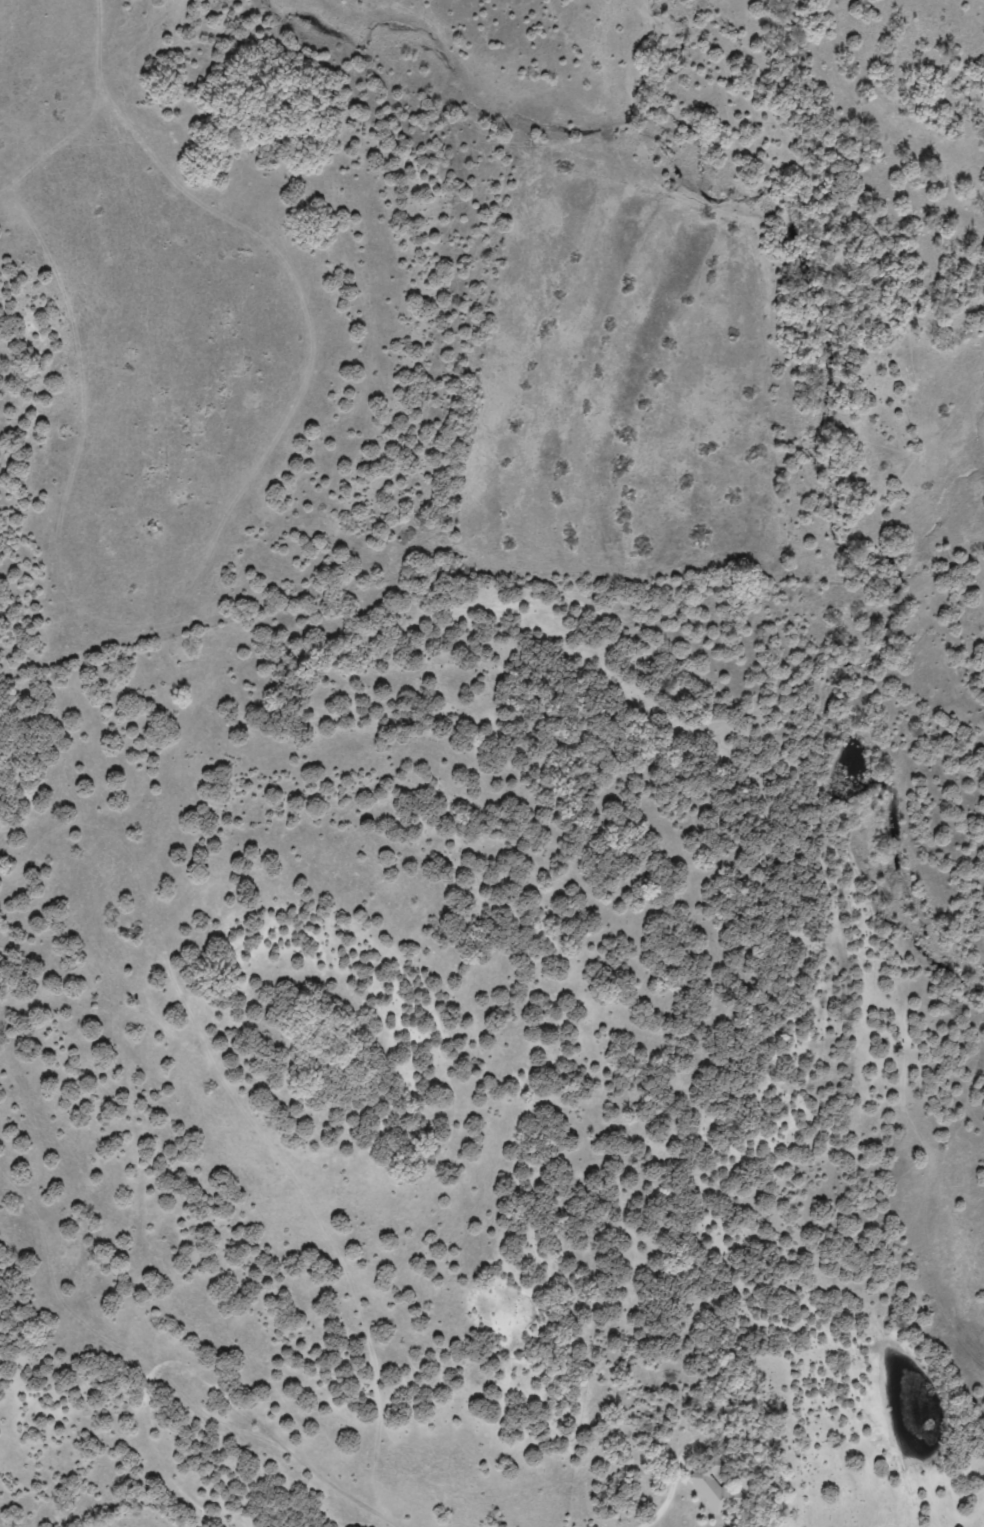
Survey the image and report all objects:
building: (715, 1488)

